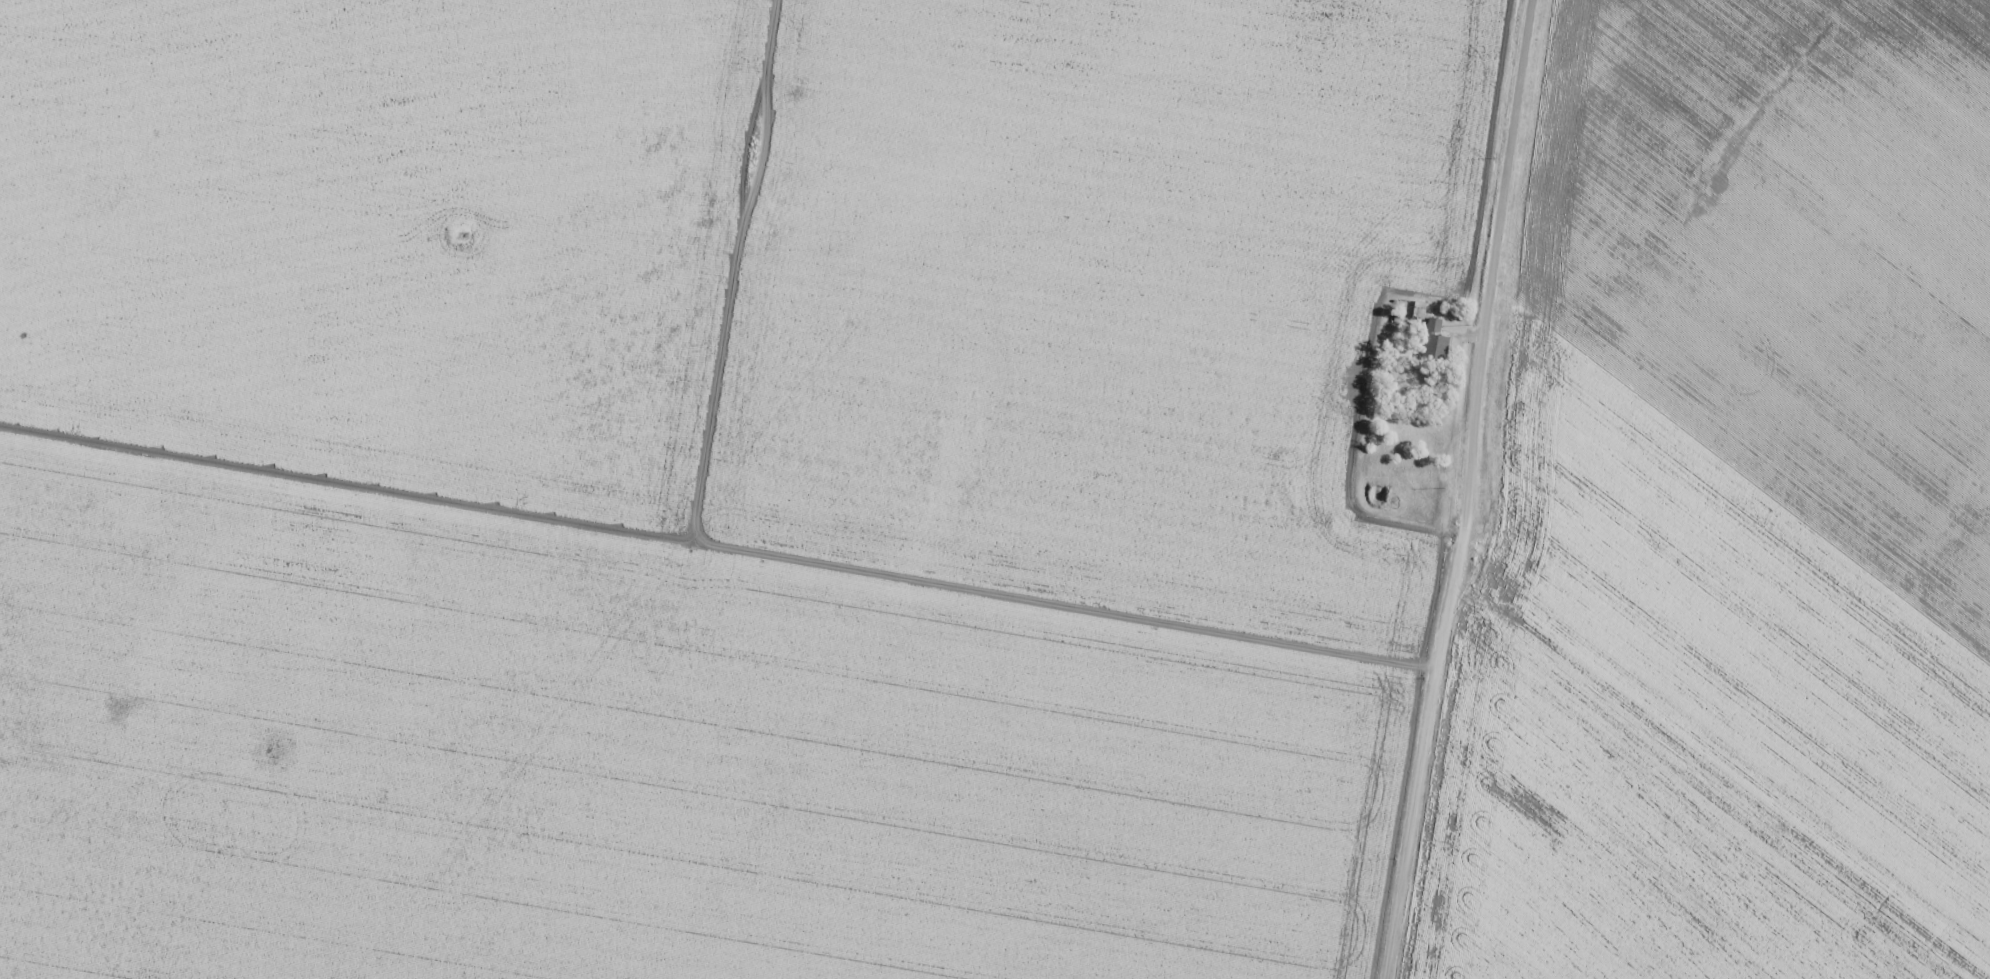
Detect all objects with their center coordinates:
building: (1434, 344)
road: (1450, 489)
crop: (1729, 514)

